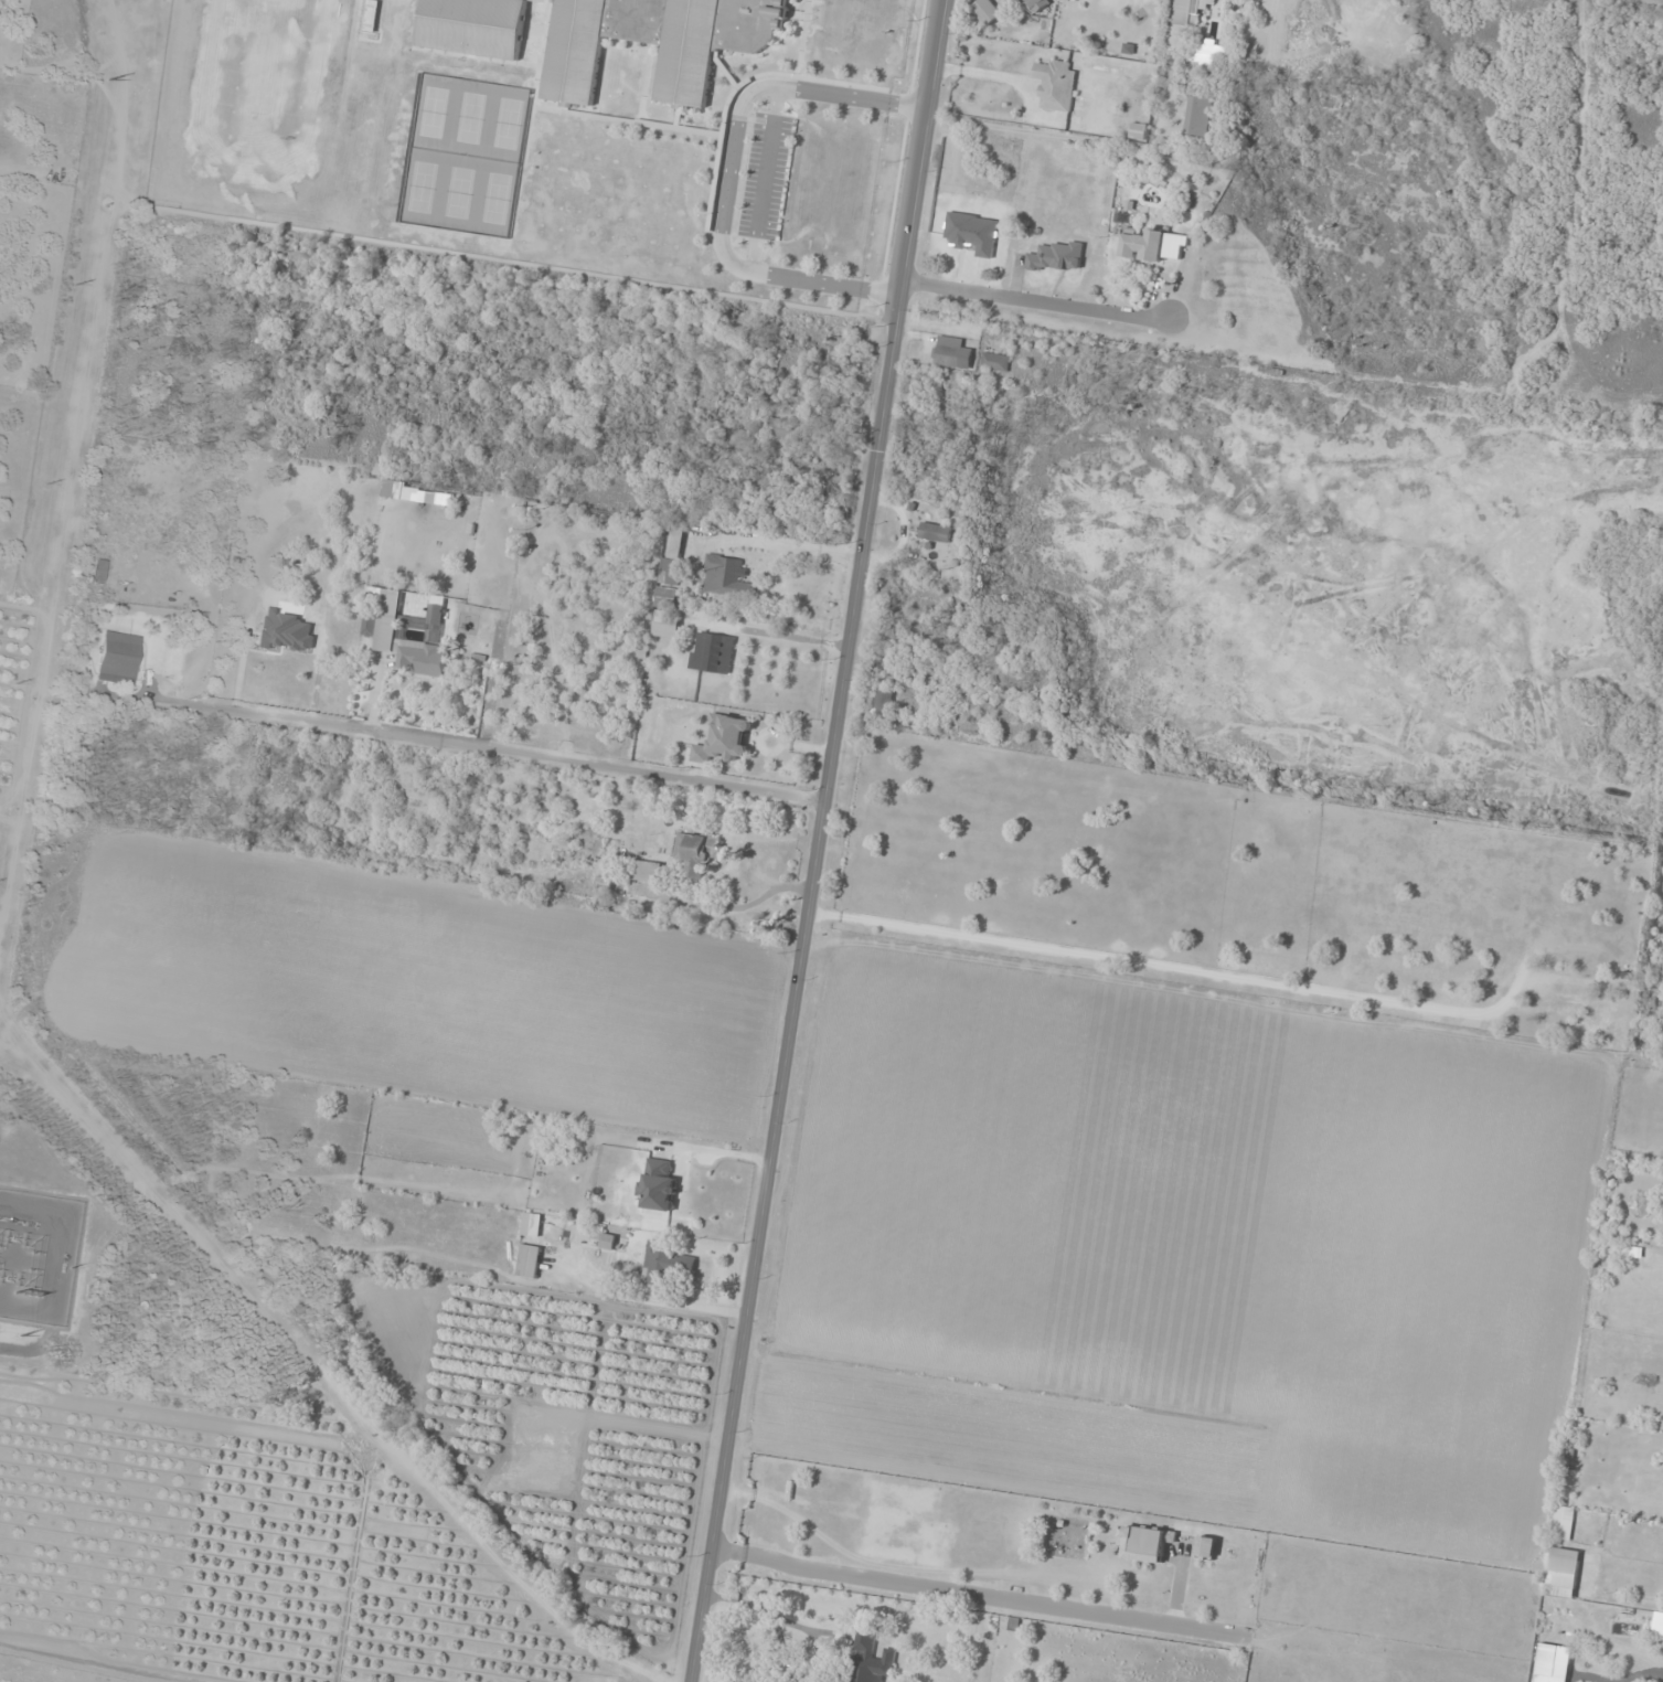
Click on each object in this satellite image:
building: (1035, 4)
building: (985, 12)
building: (1185, 22)
building: (473, 26)
building: (657, 42)
building: (1208, 53)
park: (264, 54)
building: (1057, 85)
park: (433, 113)
building: (1198, 116)
park: (470, 118)
park: (508, 124)
building: (1139, 131)
road: (728, 172)
parking lot: (765, 177)
road: (764, 179)
park: (422, 187)
park: (458, 193)
park: (495, 199)
building: (1144, 245)
road: (1036, 305)
building: (952, 352)
building: (995, 362)
building: (779, 428)
building: (936, 533)
building: (725, 575)
building: (387, 634)
building: (712, 652)
building: (117, 658)
building: (885, 702)
building: (725, 739)
road: (516, 758)
road: (822, 841)
building: (697, 853)
building: (647, 871)
building: (659, 1186)
building: (532, 1225)
building: (605, 1237)
power substation: (36, 1255)
building: (530, 1261)
building: (665, 1265)
building: (1563, 1523)
building: (1145, 1544)
building: (1206, 1548)
building: (1563, 1573)
building: (872, 1669)

